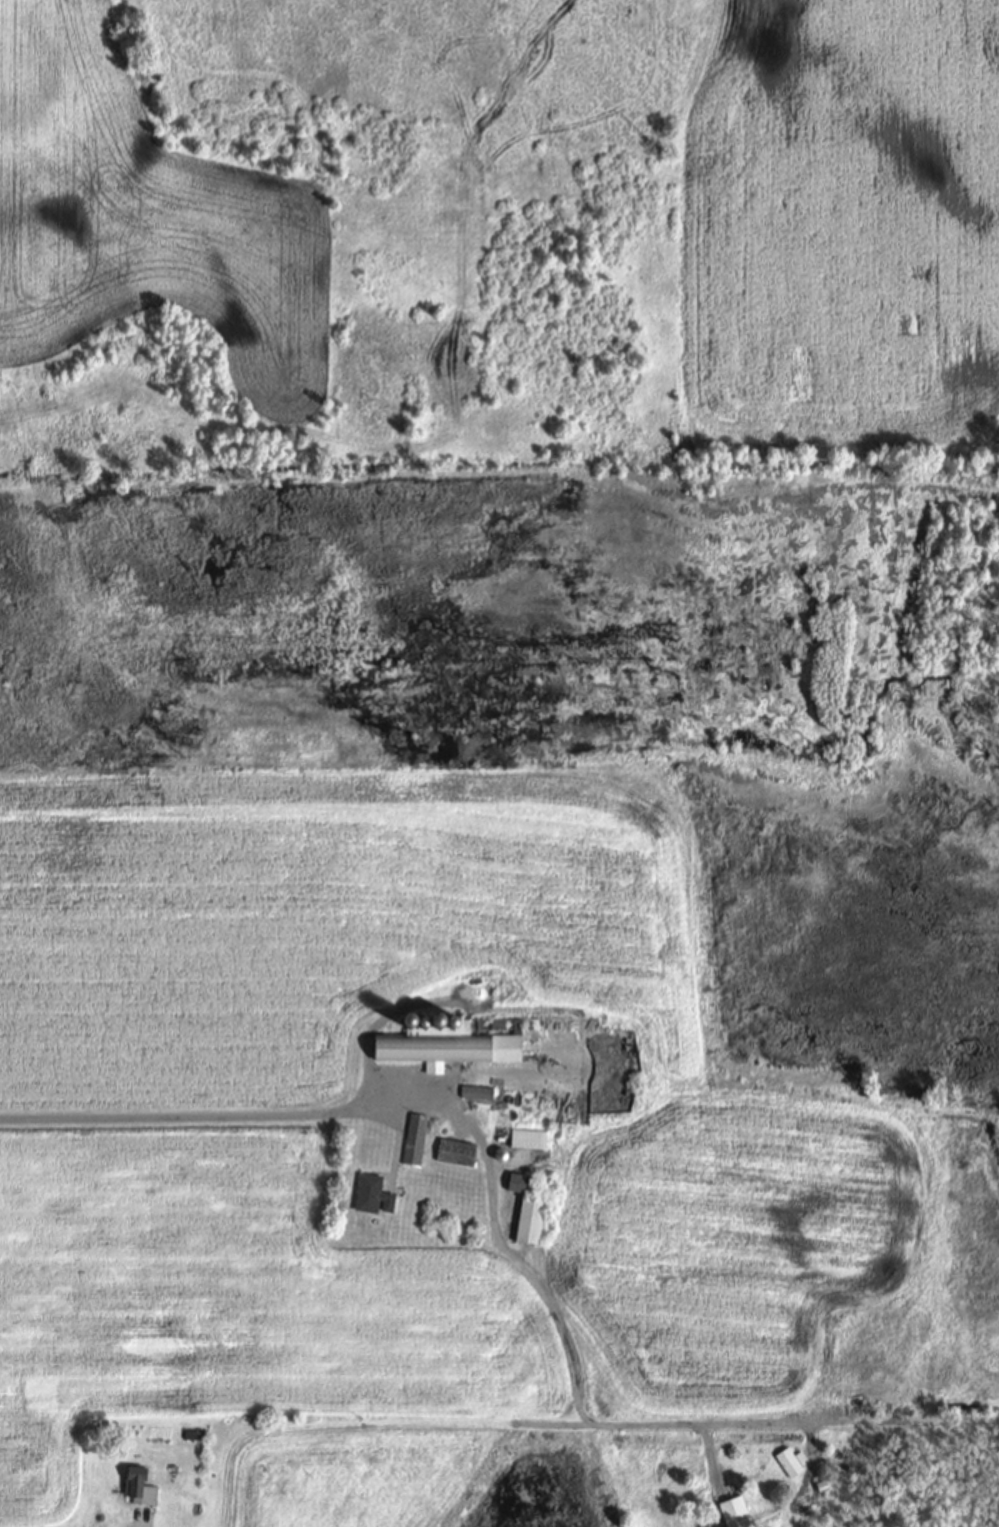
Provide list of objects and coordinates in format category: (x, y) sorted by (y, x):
building: (455, 1039)
road: (191, 1117)
building: (507, 1119)
building: (416, 1139)
building: (458, 1152)
building: (524, 1183)
building: (376, 1196)
building: (532, 1220)
building: (791, 1462)
building: (144, 1489)

